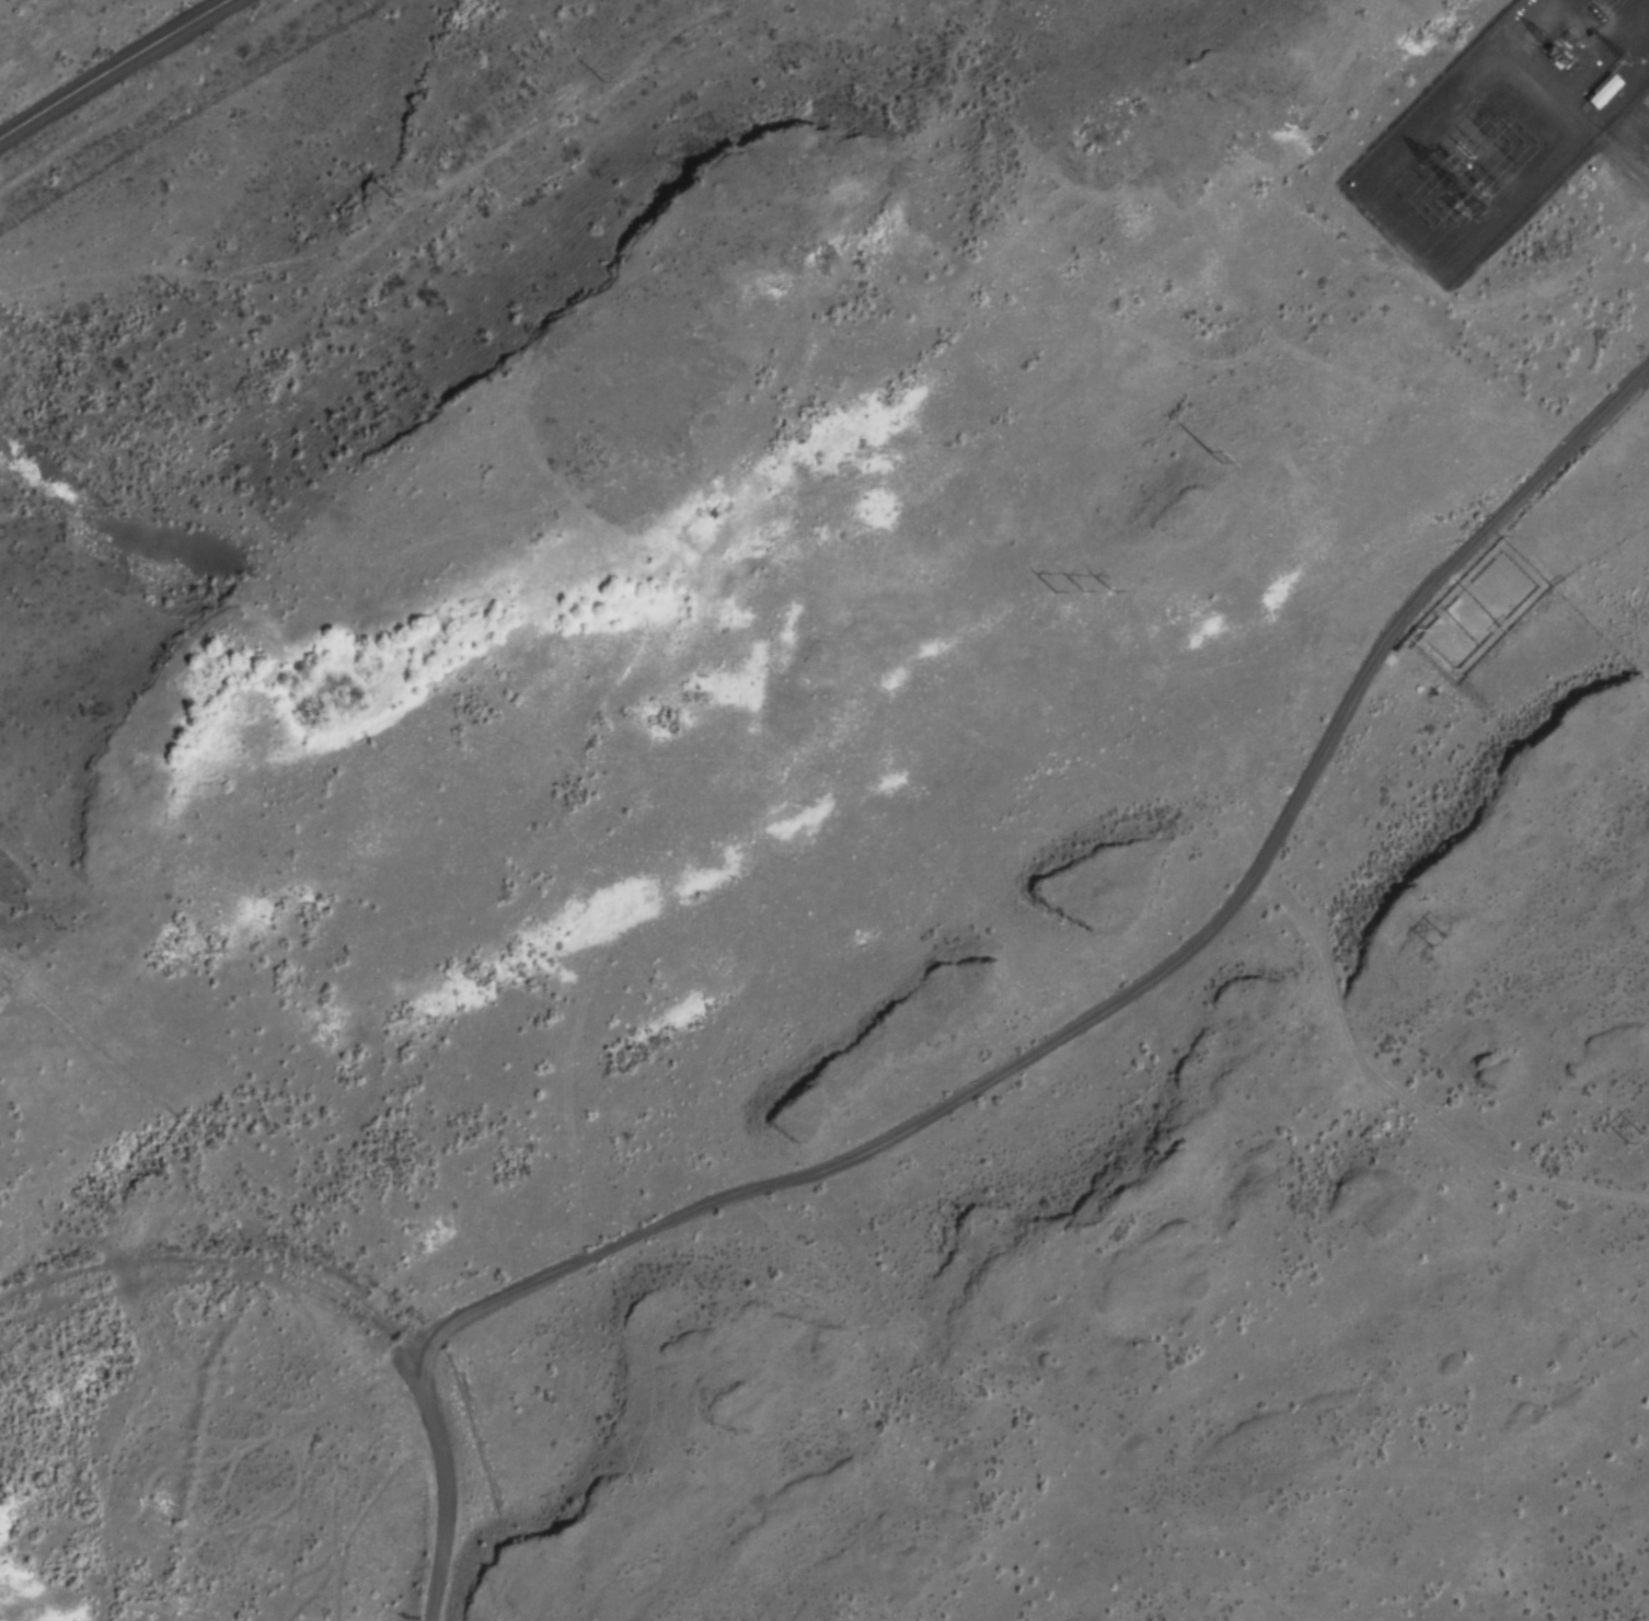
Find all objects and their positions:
railway: (113, 68)
power substation: (1500, 128)
road: (1647, 172)
road: (387, 304)
power tower: (1214, 459)
power tower: (1074, 591)
power tower: (1432, 941)
road: (1037, 1065)
power tower: (1629, 1137)

